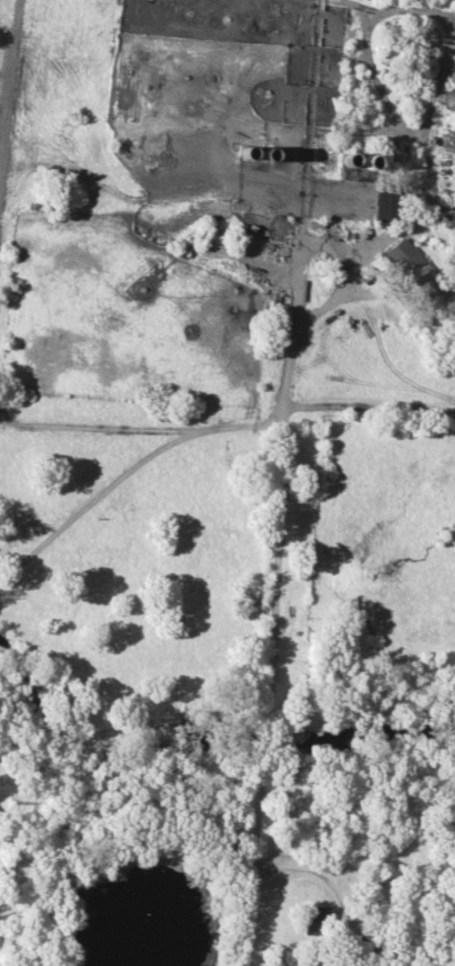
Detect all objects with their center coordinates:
road: (372, 70)
building: (407, 260)
road: (346, 274)
building: (434, 292)
road: (369, 404)
road: (127, 470)
road: (264, 687)
road: (346, 915)

